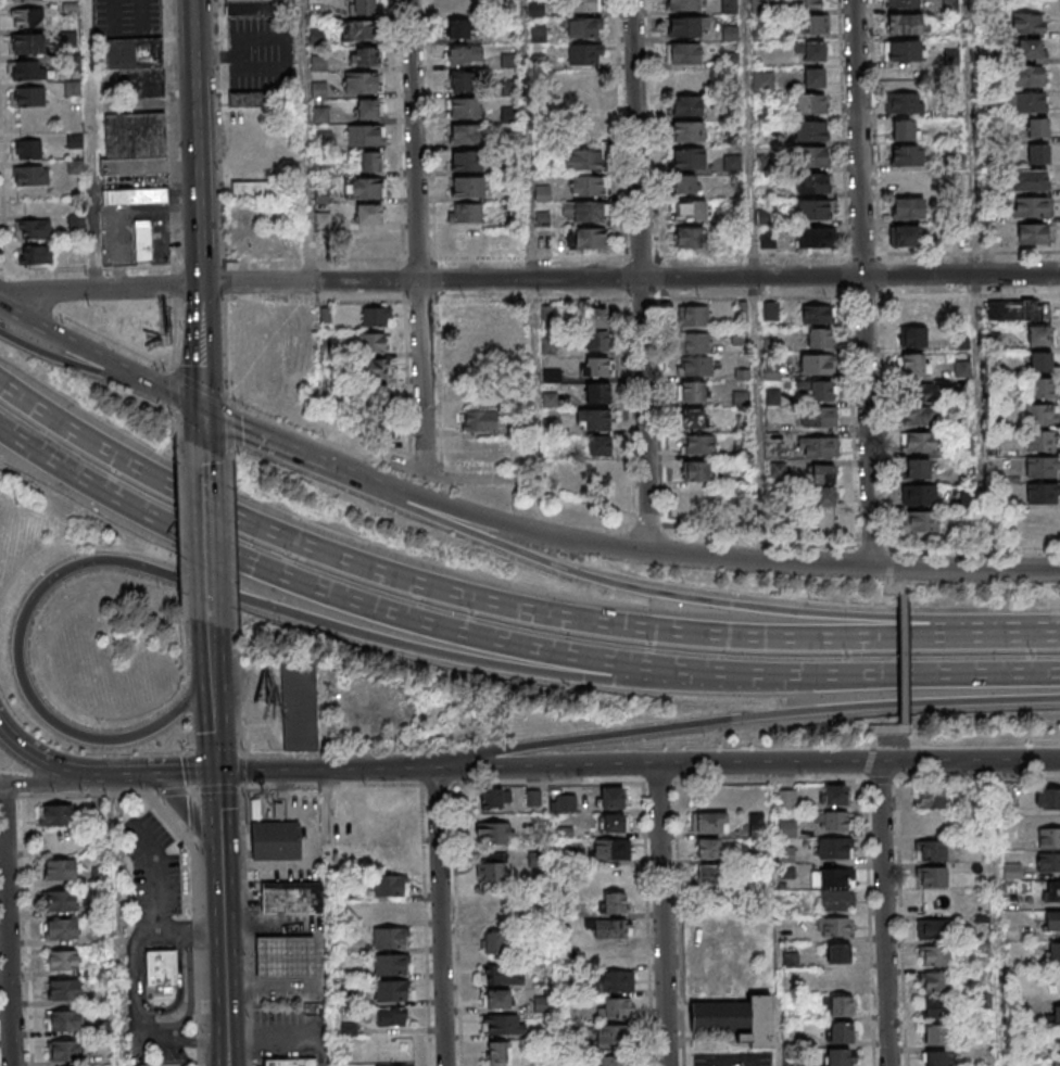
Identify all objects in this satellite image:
building: (26, 0)
building: (901, 3)
building: (583, 4)
building: (685, 4)
building: (806, 4)
building: (729, 5)
building: (248, 8)
building: (363, 8)
building: (458, 8)
building: (27, 17)
building: (1026, 23)
building: (904, 24)
building: (813, 25)
building: (685, 26)
building: (584, 27)
building: (459, 28)
building: (358, 31)
building: (27, 43)
building: (903, 50)
building: (1030, 50)
building: (811, 51)
building: (584, 53)
building: (683, 53)
building: (464, 54)
building: (365, 58)
building: (137, 65)
building: (27, 69)
building: (1029, 76)
building: (813, 78)
building: (583, 79)
building: (685, 79)
building: (904, 80)
building: (460, 81)
building: (762, 83)
building: (362, 84)
building: (72, 87)
building: (27, 96)
building: (248, 100)
building: (1026, 102)
building: (904, 103)
building: (686, 104)
building: (807, 105)
building: (464, 109)
building: (368, 110)
building: (1037, 128)
building: (905, 129)
building: (687, 131)
building: (585, 132)
building: (809, 132)
building: (464, 134)
building: (365, 135)
building: (75, 140)
road: (310, 141)
road: (195, 142)
building: (135, 143)
building: (27, 149)
building: (1038, 153)
building: (906, 155)
building: (810, 157)
building: (689, 158)
building: (582, 160)
building: (370, 161)
building: (466, 161)
building: (30, 175)
building: (1030, 180)
building: (906, 181)
building: (685, 183)
building: (811, 185)
building: (586, 186)
building: (364, 187)
building: (253, 188)
building: (468, 188)
building: (135, 195)
building: (1031, 206)
building: (907, 207)
building: (690, 211)
building: (812, 211)
building: (584, 212)
building: (466, 213)
building: (370, 214)
building: (323, 219)
building: (33, 228)
building: (1031, 232)
road: (416, 236)
building: (905, 236)
building: (690, 237)
building: (588, 238)
building: (465, 239)
building: (813, 239)
building: (142, 241)
building: (35, 254)
road: (644, 275)
road: (629, 279)
road: (756, 279)
road: (867, 282)
road: (979, 283)
road: (100, 291)
road: (26, 295)
road: (538, 300)
building: (770, 310)
building: (1019, 310)
building: (471, 315)
building: (693, 315)
building: (818, 315)
road: (23, 316)
building: (376, 316)
building: (596, 317)
building: (1040, 335)
building: (911, 337)
building: (820, 339)
building: (596, 340)
building: (374, 342)
building: (475, 342)
building: (695, 342)
road: (101, 359)
building: (912, 363)
building: (1039, 363)
road: (76, 365)
building: (817, 366)
building: (596, 367)
building: (697, 367)
building: (376, 368)
building: (770, 371)
road: (201, 375)
building: (1040, 389)
building: (914, 391)
building: (815, 392)
building: (597, 393)
building: (691, 393)
building: (376, 396)
road: (179, 401)
traffic signals: (202, 413)
building: (919, 415)
building: (1040, 416)
building: (818, 417)
building: (594, 419)
building: (692, 419)
road: (277, 420)
building: (479, 421)
road: (245, 433)
building: (919, 441)
building: (1040, 442)
building: (698, 444)
building: (600, 445)
building: (818, 448)
road: (312, 462)
building: (918, 468)
building: (1042, 468)
building: (695, 471)
building: (596, 472)
road: (368, 484)
building: (819, 486)
building: (918, 494)
building: (1043, 494)
building: (695, 498)
road: (584, 500)
road: (651, 518)
building: (1044, 520)
building: (921, 521)
road: (762, 534)
road: (874, 545)
road: (206, 547)
road: (636, 549)
road: (972, 549)
road: (892, 556)
road: (885, 566)
road: (975, 568)
road: (893, 572)
road: (185, 581)
road: (685, 597)
road: (506, 606)
road: (507, 645)
road: (210, 651)
road: (905, 670)
building: (299, 707)
road: (213, 721)
road: (755, 722)
road: (871, 752)
road: (963, 760)
road: (764, 762)
road: (61, 765)
road: (187, 770)
traffic signals: (215, 770)
road: (143, 771)
road: (157, 771)
road: (438, 771)
road: (866, 771)
road: (36, 781)
road: (2, 784)
building: (611, 797)
building: (834, 797)
building: (533, 798)
building: (929, 798)
building: (1048, 798)
building: (494, 799)
building: (786, 799)
building: (566, 802)
building: (59, 815)
road: (195, 815)
road: (217, 820)
building: (830, 821)
building: (613, 823)
building: (709, 823)
building: (756, 823)
building: (930, 824)
building: (494, 834)
building: (1048, 837)
building: (276, 841)
building: (610, 848)
building: (833, 848)
building: (707, 849)
building: (930, 850)
building: (389, 855)
building: (1048, 861)
building: (62, 868)
building: (490, 872)
road: (160, 875)
building: (100, 876)
building: (707, 876)
building: (931, 876)
building: (832, 877)
building: (388, 886)
building: (1052, 891)
building: (293, 897)
building: (62, 900)
building: (836, 900)
building: (615, 902)
building: (495, 906)
road: (665, 914)
road: (887, 914)
road: (333, 917)
road: (121, 918)
road: (441, 918)
building: (1052, 922)
road: (9, 925)
building: (834, 926)
building: (63, 927)
building: (611, 928)
road: (192, 929)
building: (933, 929)
building: (389, 939)
building: (493, 942)
building: (1052, 952)
building: (838, 953)
road: (256, 954)
building: (934, 955)
building: (287, 956)
building: (65, 960)
building: (390, 965)
road: (224, 967)
building: (164, 968)
building: (500, 974)
building: (610, 980)
building: (934, 981)
building: (66, 988)
building: (391, 991)
building: (496, 999)
building: (840, 1005)
building: (935, 1007)
building: (615, 1008)
road: (137, 1013)
building: (391, 1016)
building: (1052, 1016)
building: (737, 1018)
building: (66, 1019)
building: (503, 1024)
road: (557, 1030)
building: (841, 1032)
building: (935, 1035)
building: (613, 1036)
road: (287, 1037)
building: (1056, 1042)
building: (67, 1050)
building: (497, 1053)
building: (841, 1057)
building: (935, 1058)
road: (732, 1059)
building: (292, 1061)
building: (615, 1061)
building: (1055, 1064)
building: (394, 1065)

